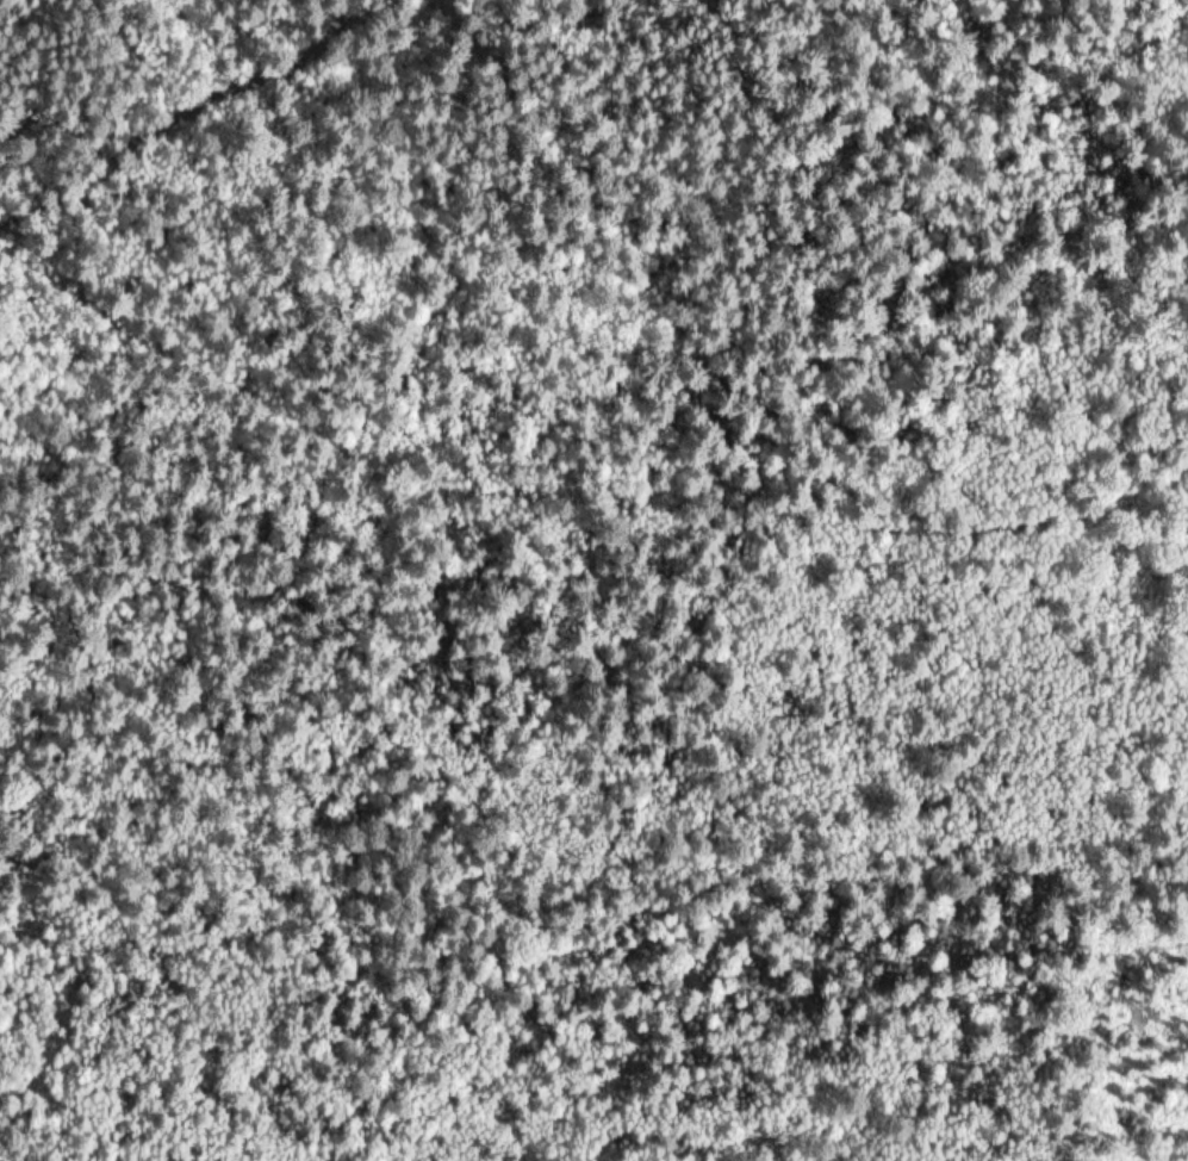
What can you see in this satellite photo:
road: (135, 113)

